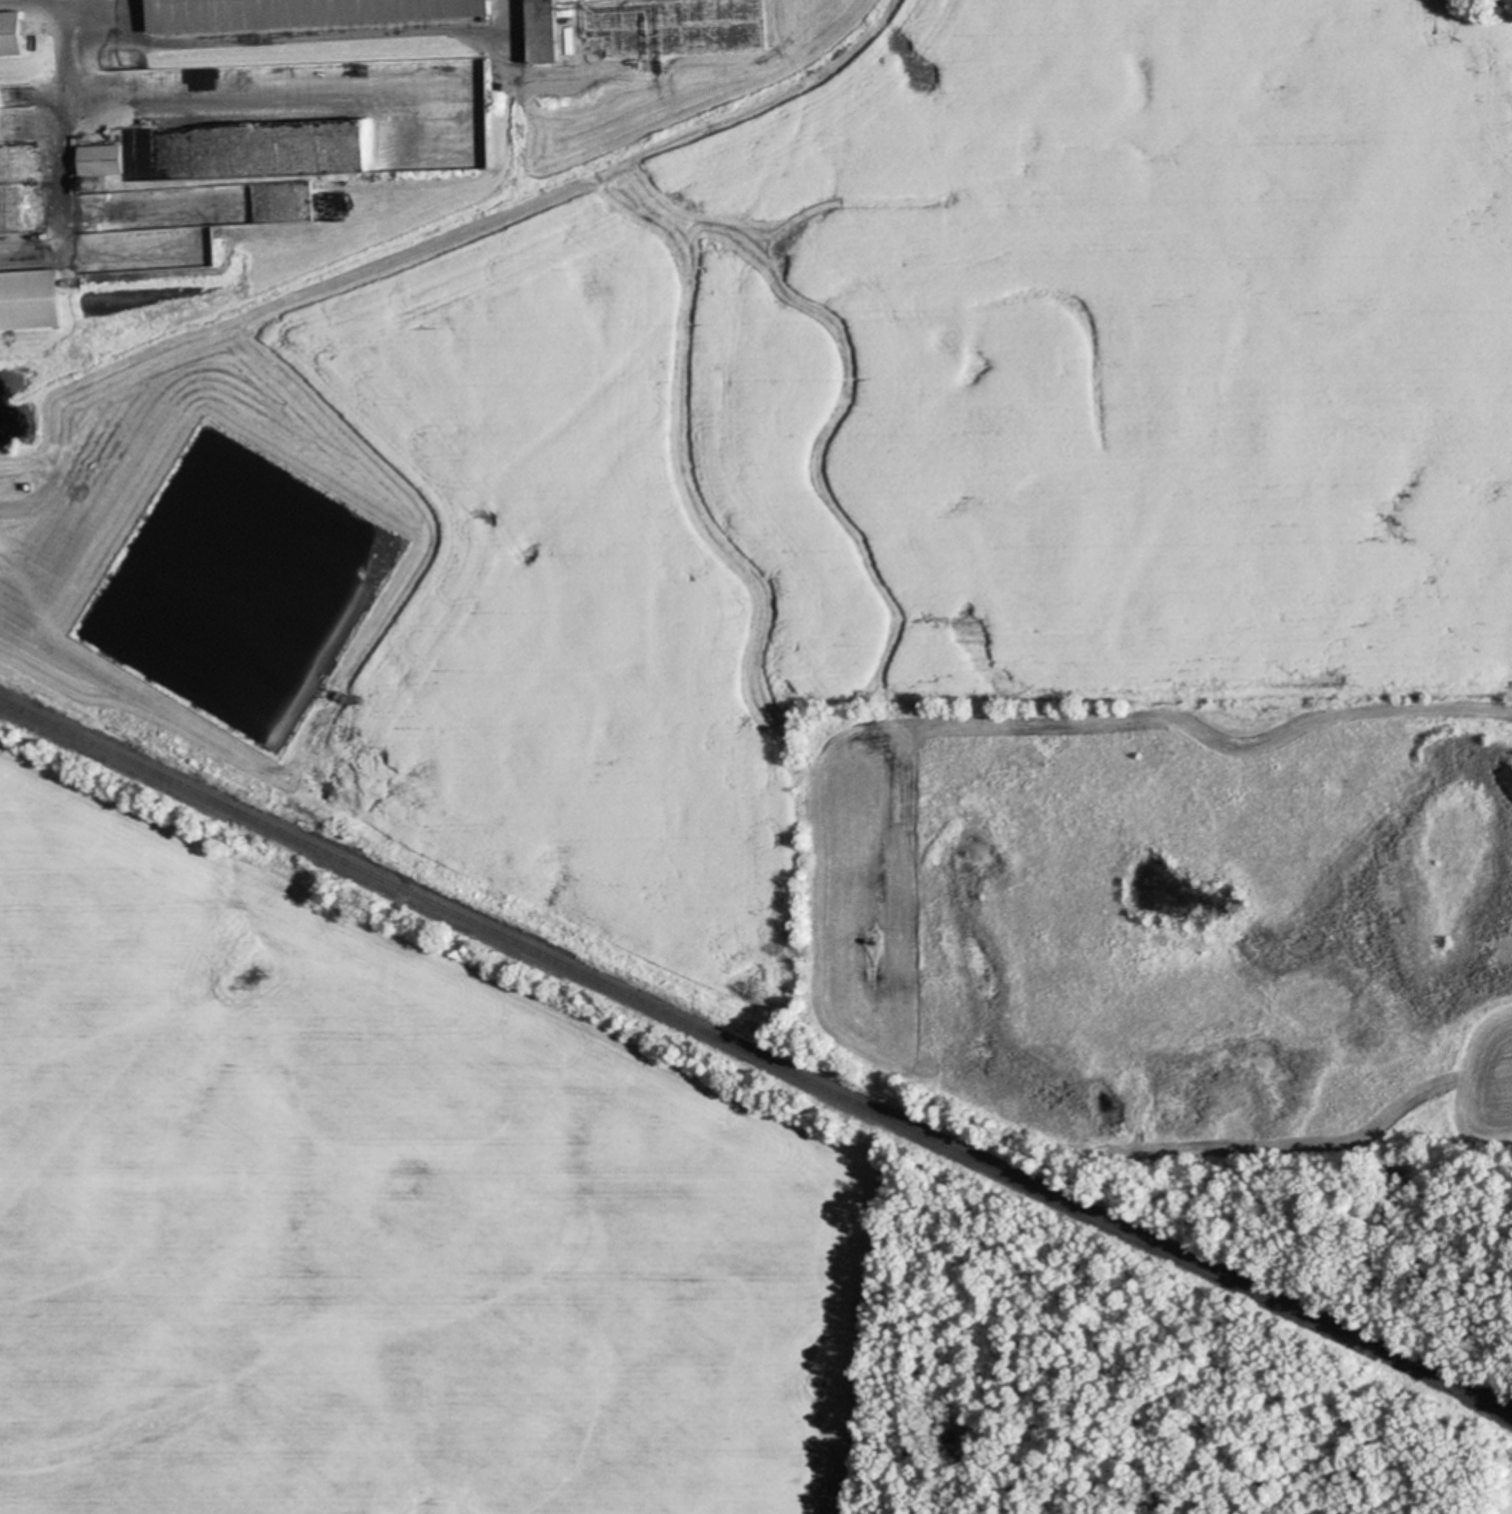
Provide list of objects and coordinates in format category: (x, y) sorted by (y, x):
building: (312, 12)
building: (560, 31)
road: (305, 32)
building: (540, 32)
building: (17, 33)
road: (68, 150)
building: (108, 160)
building: (35, 300)
building: (250, 527)
railway: (756, 1055)

